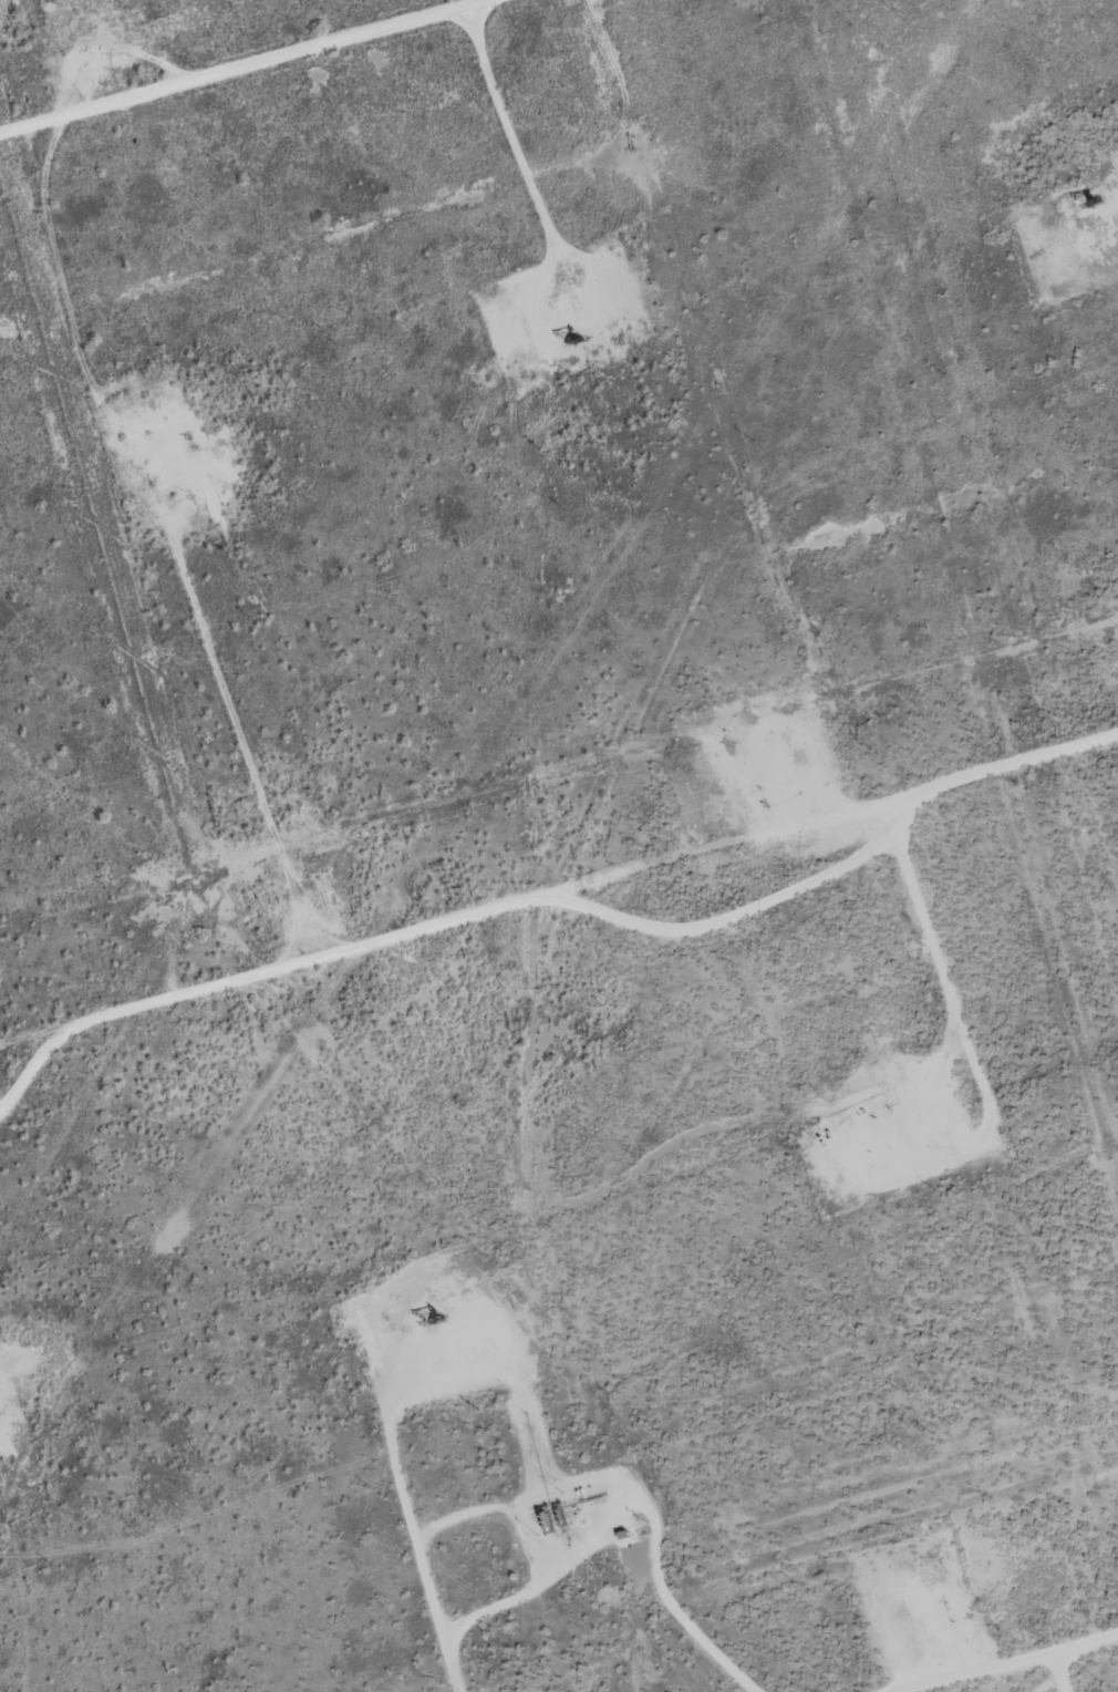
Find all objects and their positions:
road: (231, 64)
petroleum well: (1091, 200)
road: (559, 887)
road: (1014, 1662)

